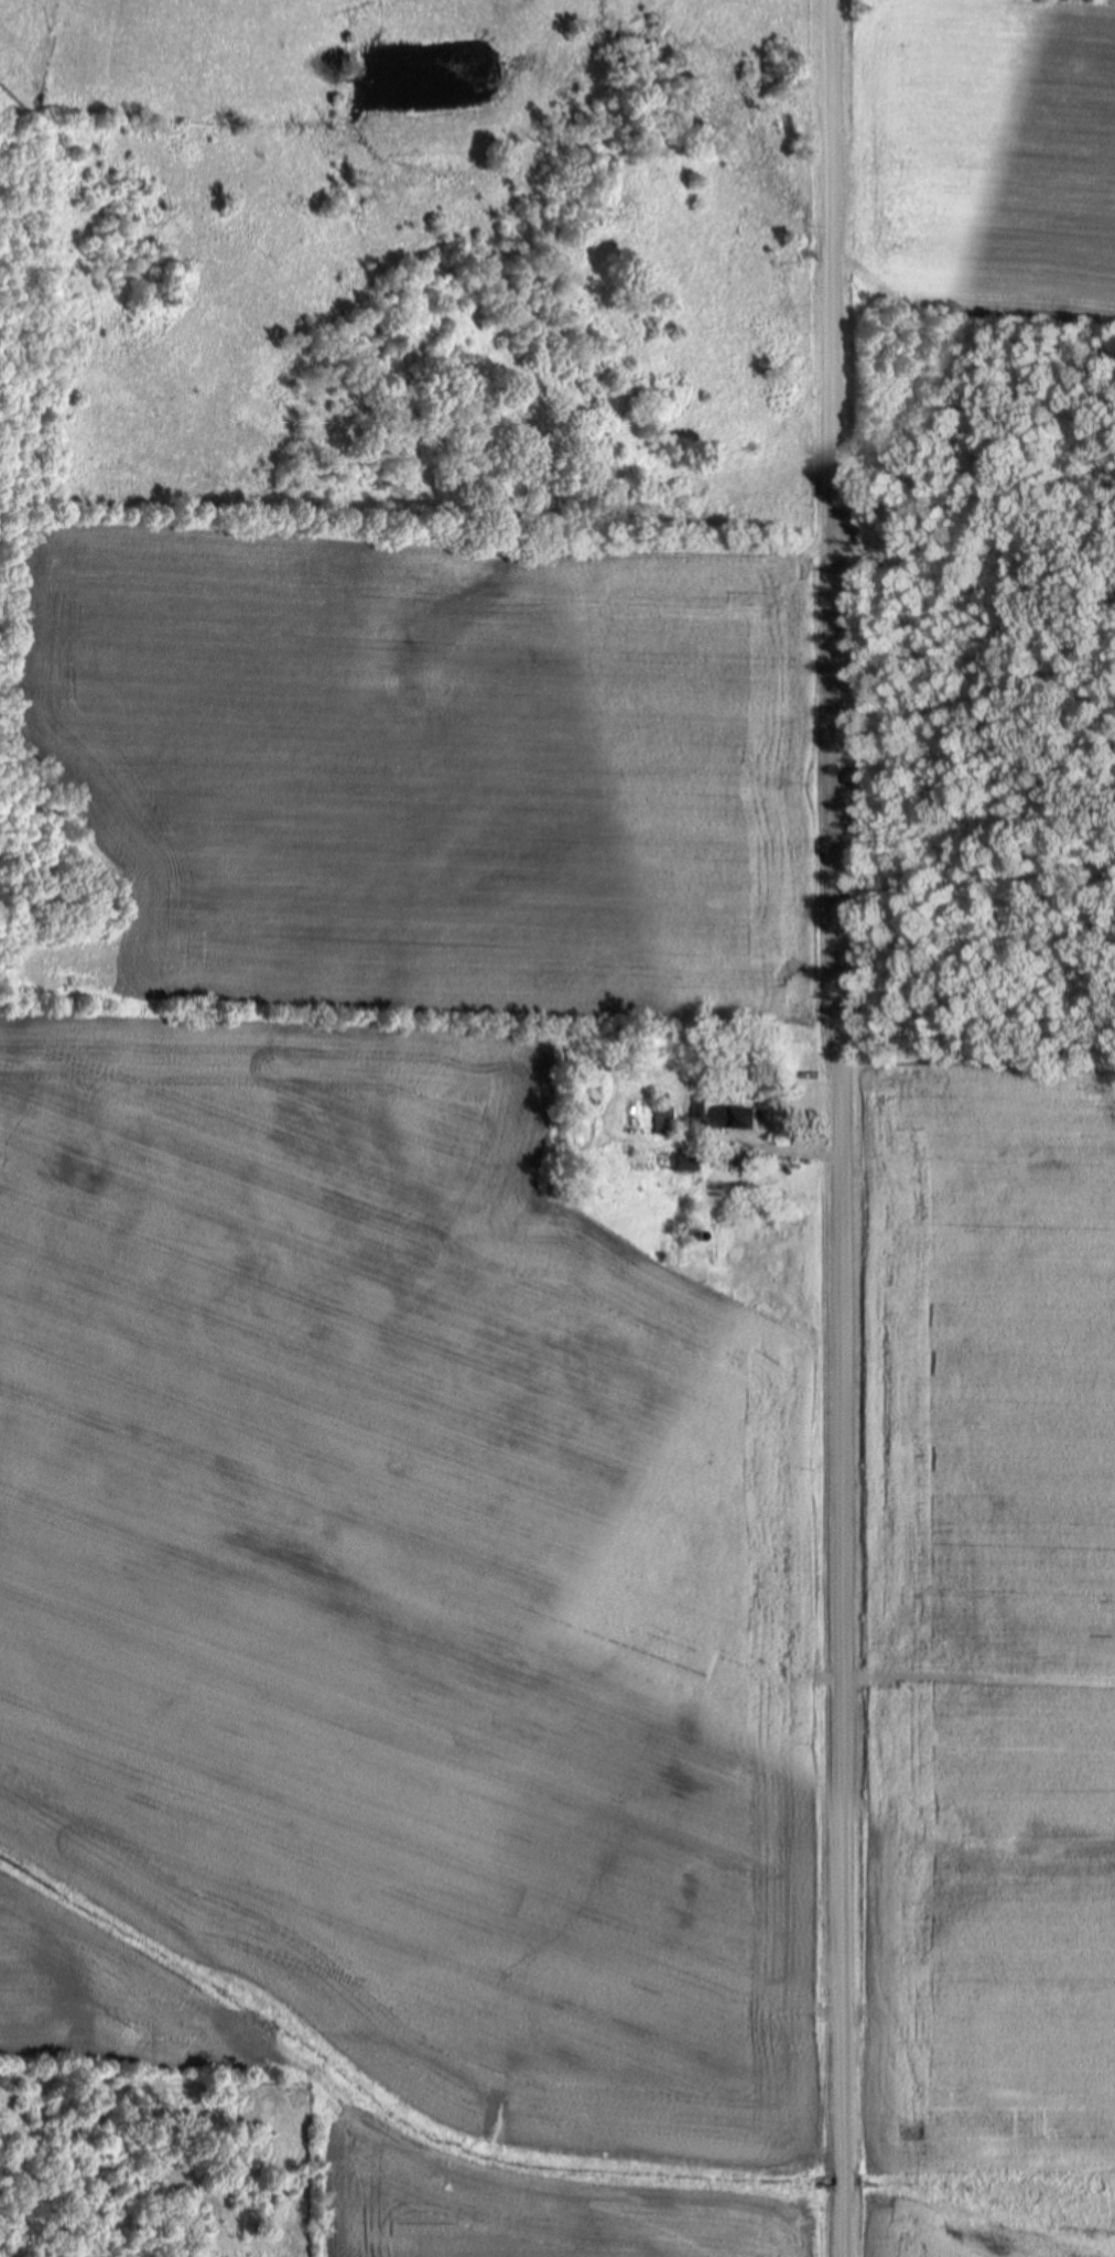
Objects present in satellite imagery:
building: (699, 1109)
building: (660, 1119)
building: (739, 1119)
road: (842, 1128)
building: (679, 1164)
building: (703, 1198)

